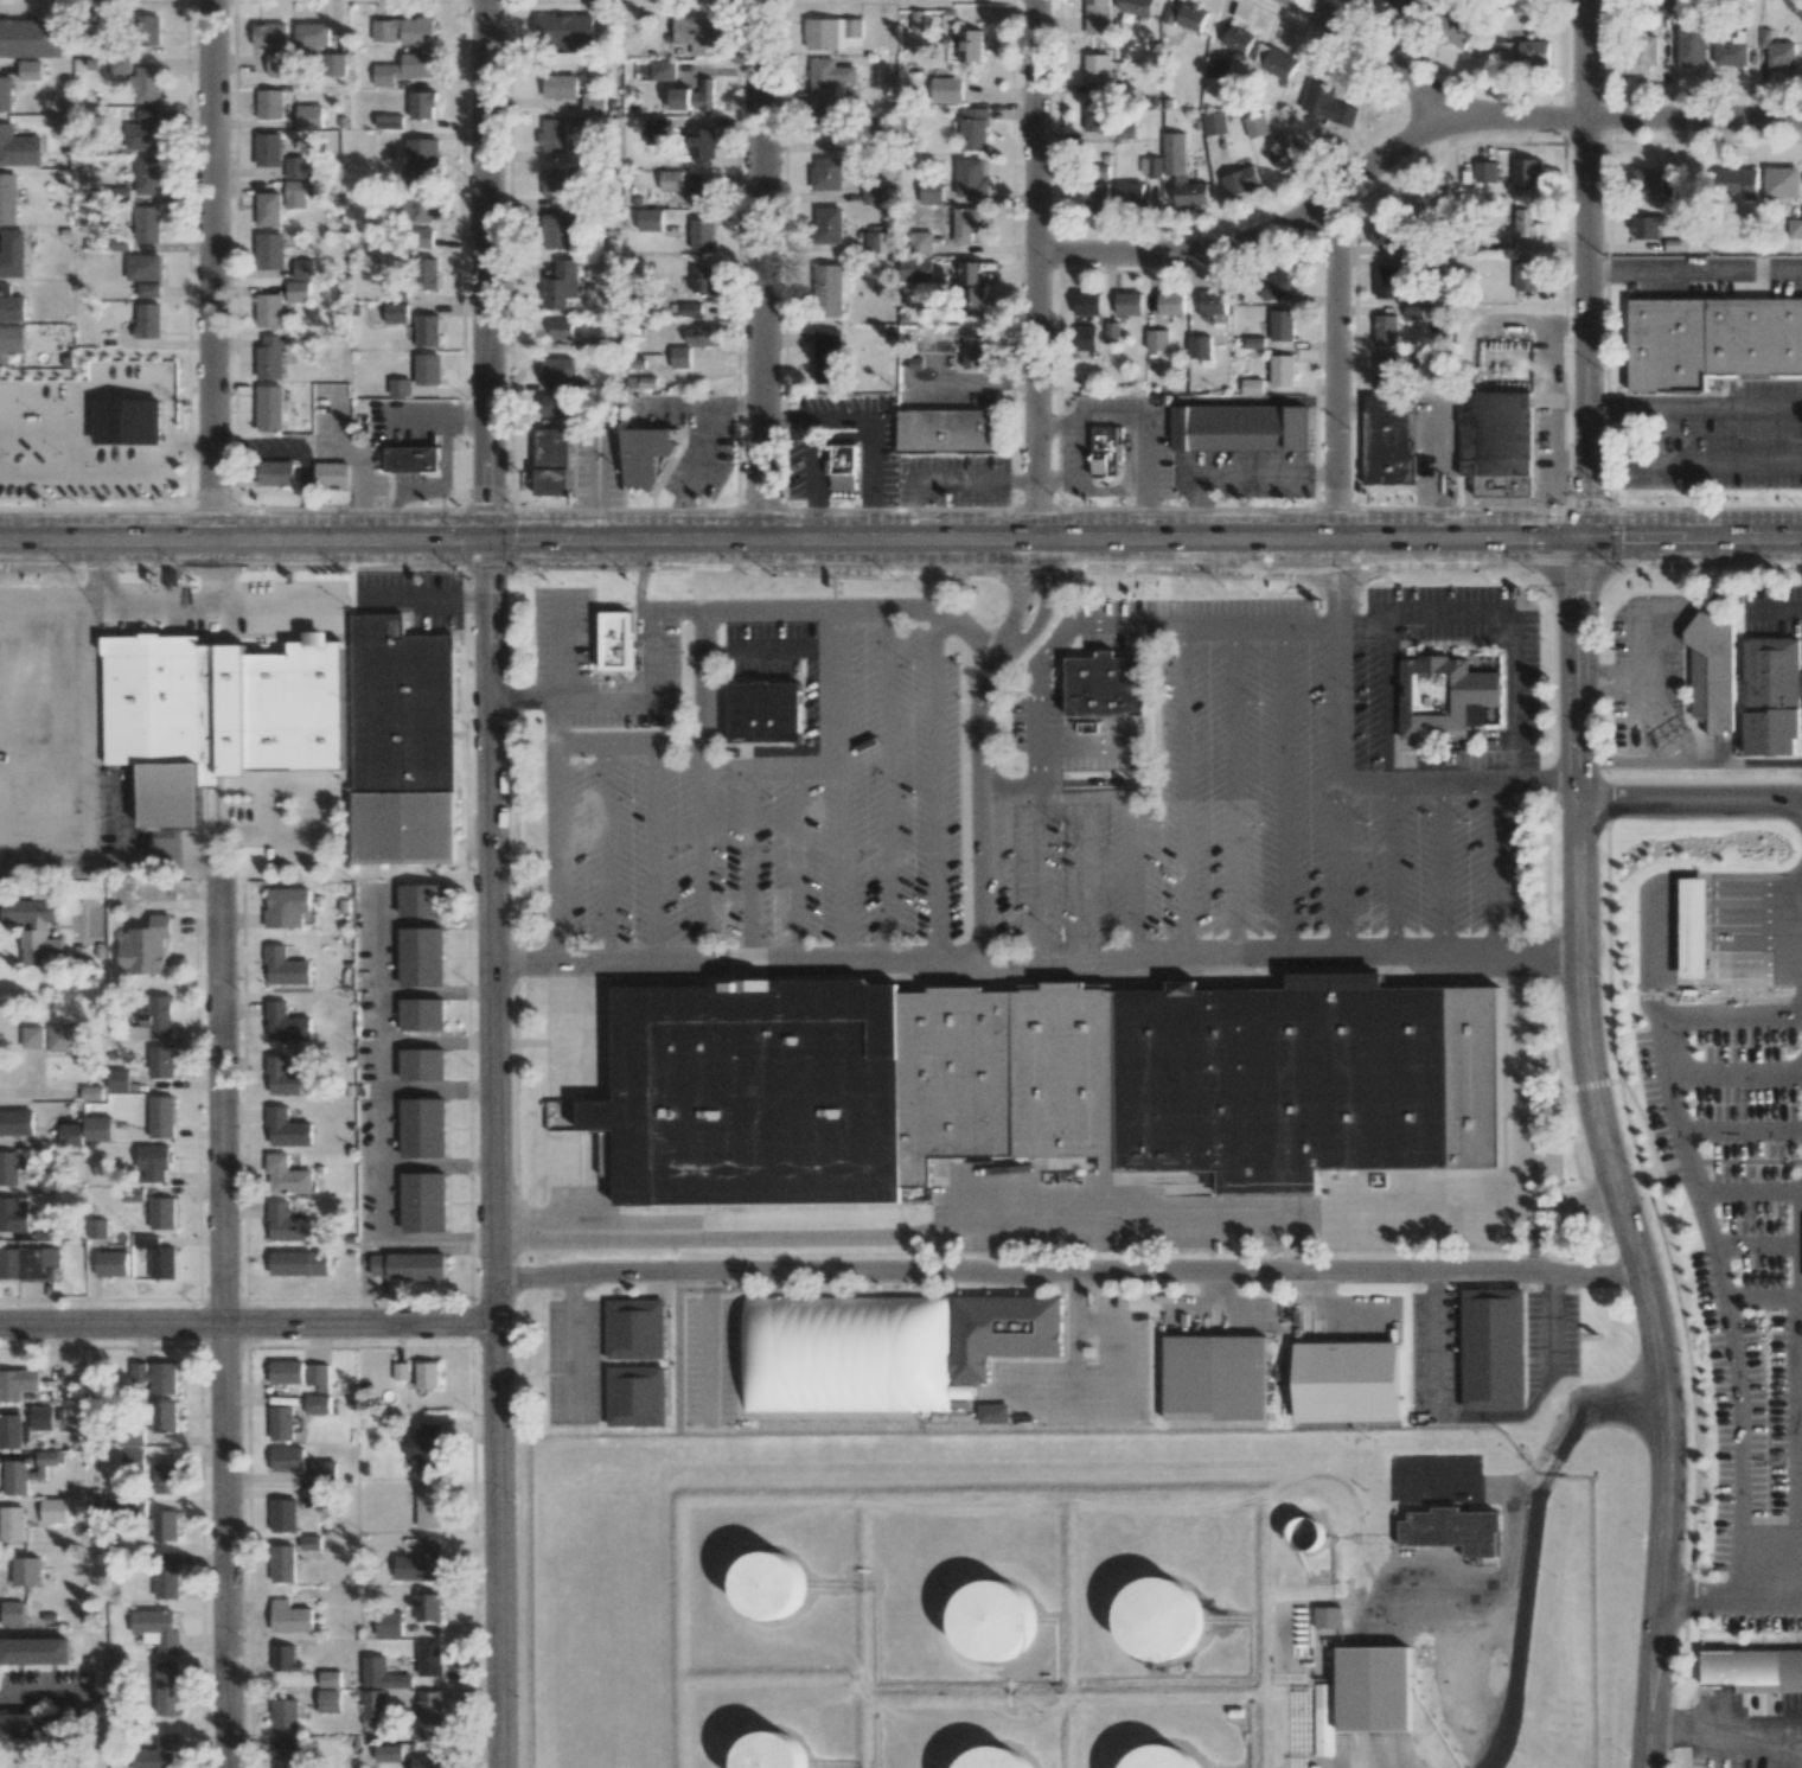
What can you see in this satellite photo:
building: (1400, 5)
building: (1137, 7)
building: (1673, 7)
building: (1097, 17)
building: (1191, 18)
building: (916, 20)
building: (148, 30)
building: (403, 31)
building: (1461, 31)
building: (695, 33)
building: (833, 33)
building: (269, 34)
building: (312, 34)
building: (31, 38)
building: (1238, 39)
building: (970, 45)
building: (1691, 46)
building: (1736, 46)
building: (1776, 50)
building: (1642, 52)
building: (1522, 53)
building: (1274, 62)
building: (276, 63)
building: (120, 65)
building: (336, 65)
building: (1218, 66)
building: (404, 69)
building: (30, 70)
building: (662, 70)
building: (1098, 71)
building: (830, 78)
building: (146, 85)
building: (560, 85)
building: (946, 89)
building: (6, 94)
building: (704, 96)
building: (1316, 96)
building: (680, 98)
building: (594, 103)
building: (269, 104)
building: (423, 104)
building: (148, 115)
building: (1097, 115)
building: (309, 116)
road: (1523, 117)
building: (389, 121)
building: (823, 123)
building: (1214, 123)
building: (1255, 125)
building: (975, 129)
building: (656, 130)
building: (552, 135)
building: (142, 136)
building: (702, 142)
building: (18, 147)
building: (267, 149)
building: (1283, 154)
building: (422, 164)
building: (1150, 166)
building: (295, 167)
building: (1100, 171)
building: (1181, 171)
building: (1485, 172)
building: (827, 173)
building: (1527, 174)
building: (148, 175)
building: (970, 179)
building: (671, 180)
building: (1240, 180)
building: (554, 181)
building: (1654, 183)
building: (1738, 183)
building: (1781, 183)
building: (929, 189)
building: (1130, 192)
building: (295, 194)
building: (1097, 194)
building: (702, 196)
building: (8, 198)
building: (1430, 200)
building: (268, 209)
building: (420, 210)
building: (650, 218)
building: (1525, 222)
building: (970, 223)
building: (147, 224)
building: (827, 225)
building: (1647, 226)
building: (1795, 229)
building: (555, 232)
building: (1381, 232)
building: (702, 235)
building: (421, 237)
building: (877, 241)
road: (1260, 243)
building: (269, 251)
building: (11, 254)
building: (143, 267)
road: (1589, 268)
road: (211, 269)
building: (303, 269)
road: (486, 269)
road: (762, 269)
building: (915, 269)
road: (1041, 270)
road: (1695, 273)
building: (428, 274)
building: (1526, 275)
building: (703, 280)
building: (1386, 282)
building: (562, 285)
building: (1273, 286)
building: (148, 289)
building: (830, 289)
building: (298, 291)
building: (971, 291)
building: (1087, 302)
building: (1129, 304)
building: (1171, 304)
building: (1213, 304)
building: (11, 305)
building: (690, 309)
building: (269, 311)
building: (1413, 312)
building: (395, 313)
building: (148, 320)
building: (1282, 325)
building: (562, 328)
building: (1386, 330)
building: (427, 331)
building: (1111, 332)
building: (702, 336)
building: (108, 337)
building: (1085, 338)
building: (1157, 340)
building: (11, 342)
building: (1713, 344)
building: (1199, 346)
building: (973, 352)
building: (827, 356)
building: (269, 357)
building: (680, 357)
building: (427, 369)
building: (557, 369)
building: (1282, 370)
road: (1329, 374)
building: (1386, 375)
building: (641, 382)
building: (1251, 385)
building: (400, 387)
road: (696, 403)
building: (556, 406)
building: (269, 408)
road: (1609, 409)
road: (1715, 409)
building: (127, 422)
road: (871, 426)
building: (1239, 428)
building: (948, 430)
building: (1389, 439)
building: (1497, 445)
building: (1104, 452)
building: (646, 455)
building: (411, 460)
road: (1689, 462)
building: (552, 464)
building: (843, 465)
road: (697, 472)
building: (276, 473)
road: (1269, 473)
building: (332, 474)
road: (812, 480)
road: (944, 480)
road: (595, 485)
road: (1196, 502)
traffic signals: (1583, 537)
traffic signals: (487, 540)
road: (901, 541)
road: (212, 574)
road: (102, 575)
road: (1333, 583)
road: (1017, 594)
road: (1044, 604)
road: (173, 609)
road: (680, 612)
road: (864, 612)
road: (1450, 613)
building: (616, 642)
road: (1050, 650)
road: (1335, 656)
building: (1711, 672)
building: (19, 682)
building: (1105, 685)
building: (1772, 694)
building: (1433, 697)
road: (598, 700)
building: (296, 708)
building: (223, 711)
building: (765, 711)
building: (156, 719)
road: (76, 742)
road: (658, 743)
road: (38, 745)
building: (403, 745)
road: (1052, 747)
road: (1036, 772)
road: (1570, 780)
road: (1450, 781)
road: (843, 785)
road: (889, 785)
road: (939, 786)
road: (1183, 790)
road: (1234, 790)
road: (1284, 790)
road: (1057, 794)
road: (1689, 796)
parking lot: (1254, 802)
parking lot: (739, 803)
road: (5, 810)
road: (319, 819)
road: (122, 821)
road: (563, 853)
road: (654, 853)
road: (606, 854)
road: (747, 863)
road: (797, 863)
road: (1392, 866)
road: (703, 867)
road: (1500, 867)
road: (1443, 868)
road: (110, 873)
road: (1136, 875)
road: (982, 877)
road: (1088, 877)
road: (1037, 879)
road: (1660, 879)
road: (1726, 888)
building: (126, 893)
building: (421, 900)
building: (286, 907)
road: (1726, 913)
building: (33, 928)
building: (1688, 934)
road: (1726, 940)
building: (145, 946)
building: (421, 957)
road: (1035, 962)
building: (285, 968)
road: (1727, 969)
building: (422, 1014)
building: (154, 1019)
building: (286, 1023)
building: (32, 1036)
building: (65, 1039)
building: (160, 1061)
building: (423, 1065)
road: (1736, 1071)
building: (287, 1078)
building: (119, 1080)
building: (1035, 1086)
building: (161, 1117)
building: (17, 1123)
building: (98, 1128)
building: (423, 1128)
road: (1740, 1128)
building: (287, 1129)
building: (71, 1135)
road: (492, 1154)
road: (1605, 1155)
building: (153, 1162)
building: (8, 1168)
building: (286, 1176)
building: (45, 1182)
road: (1749, 1187)
building: (424, 1202)
building: (162, 1213)
building: (13, 1215)
building: (287, 1224)
building: (96, 1228)
road: (1708, 1234)
road: (1753, 1243)
building: (159, 1251)
building: (28, 1263)
building: (110, 1263)
building: (299, 1263)
building: (409, 1265)
road: (1067, 1271)
road: (1761, 1295)
road: (223, 1320)
road: (247, 1321)
road: (1551, 1323)
building: (634, 1328)
building: (1003, 1332)
road: (573, 1341)
road: (1436, 1342)
building: (1495, 1347)
building: (841, 1358)
building: (286, 1372)
building: (318, 1376)
building: (424, 1376)
building: (155, 1377)
building: (1215, 1377)
building: (20, 1385)
building: (1349, 1386)
building: (635, 1396)
road: (1797, 1397)
building: (318, 1404)
building: (995, 1413)
road: (1503, 1413)
building: (164, 1417)
building: (41, 1418)
building: (281, 1423)
building: (12, 1431)
building: (424, 1448)
building: (134, 1457)
building: (287, 1459)
building: (28, 1472)
building: (322, 1472)
building: (314, 1496)
building: (428, 1505)
building: (53, 1511)
building: (283, 1515)
building: (12, 1524)
building: (165, 1526)
building: (1451, 1528)
building: (309, 1542)
road: (1528, 1547)
building: (423, 1560)
building: (282, 1563)
building: (28, 1570)
building: (167, 1575)
building: (769, 1587)
road: (1728, 1596)
building: (428, 1607)
building: (289, 1617)
building: (1328, 1617)
building: (1159, 1619)
building: (992, 1620)
building: (389, 1623)
building: (156, 1629)
building: (34, 1651)
building: (285, 1659)
building: (430, 1659)
building: (1753, 1670)
building: (382, 1674)
building: (330, 1678)
building: (1372, 1687)
building: (167, 1690)
building: (330, 1702)
building: (372, 1709)
building: (430, 1715)
building: (285, 1716)
road: (1725, 1719)
building: (36, 1726)
building: (771, 1751)
building: (158, 1753)
building: (286, 1753)
building: (389, 1753)
building: (1162, 1757)
building: (995, 1759)
road: (1380, 1759)
building: (426, 1762)

